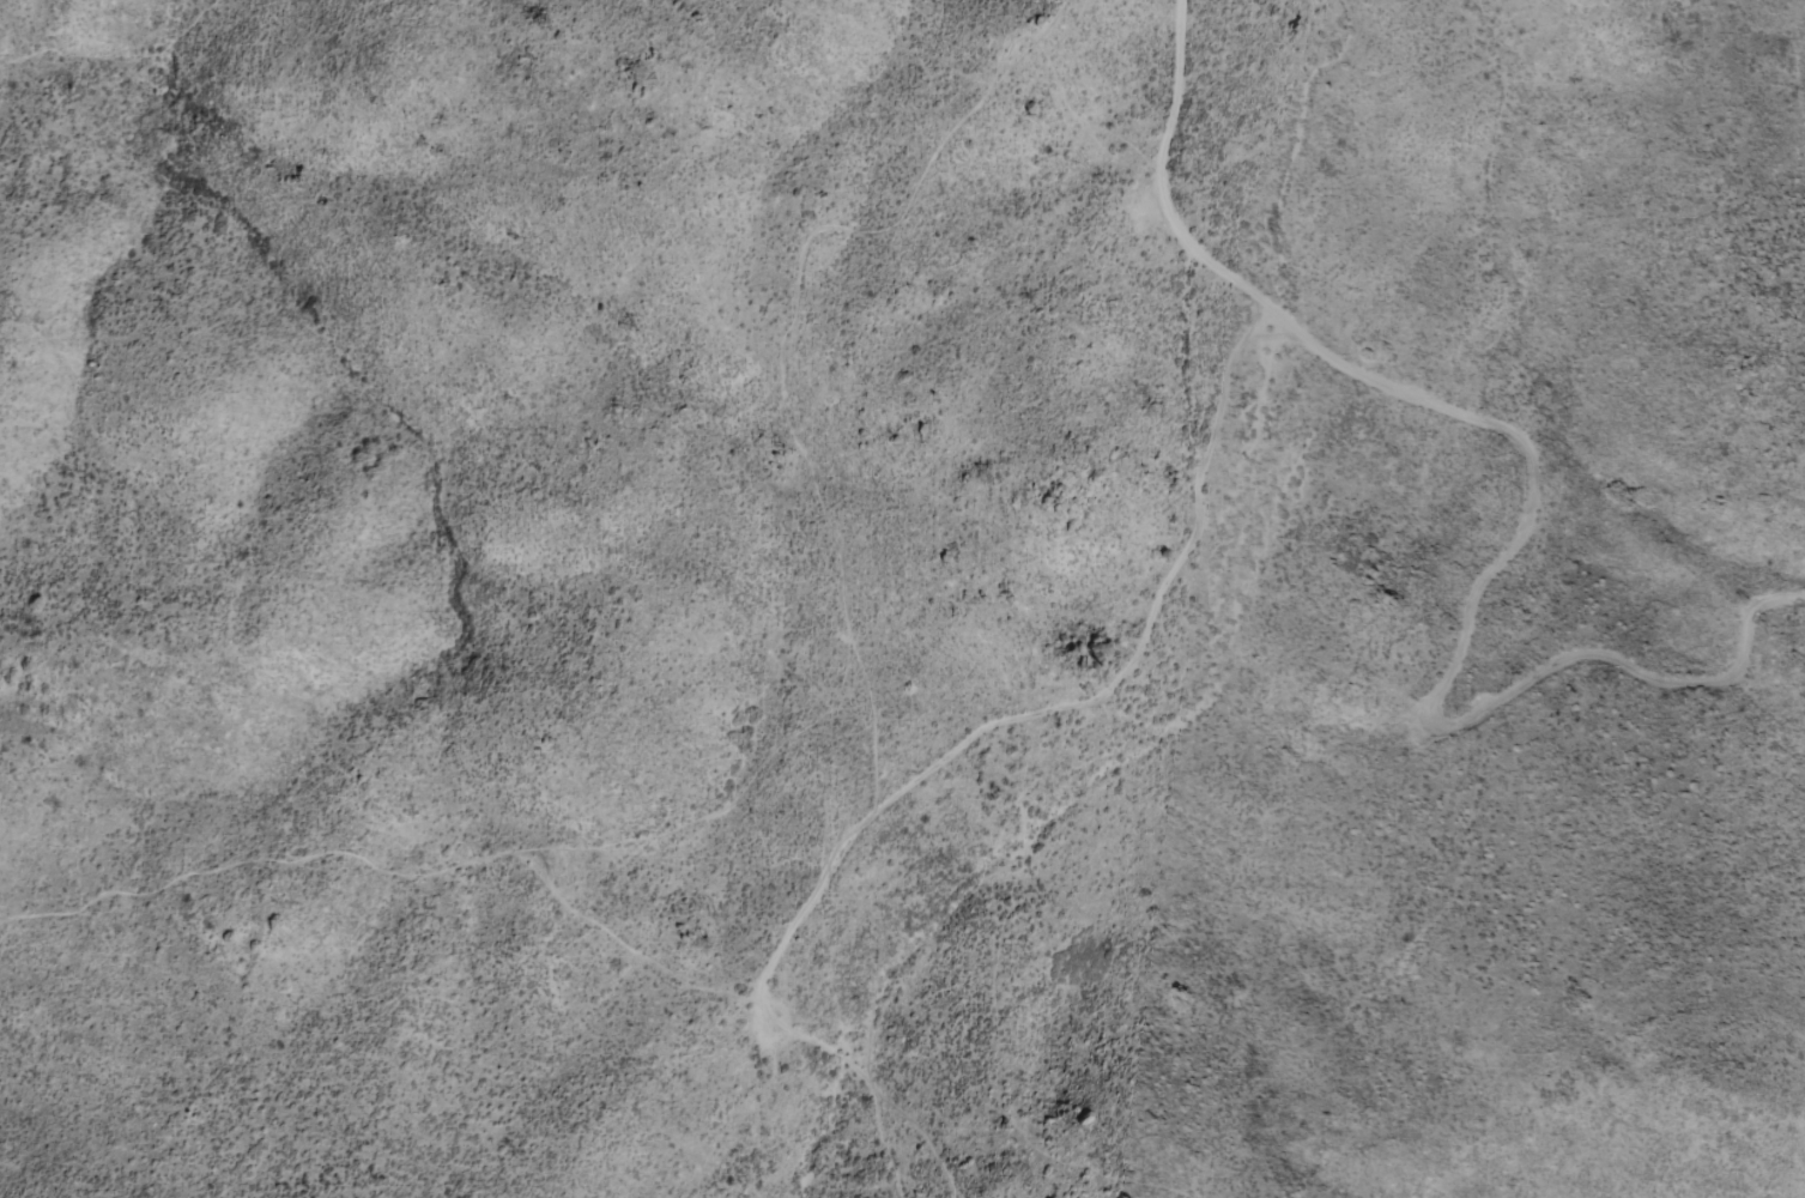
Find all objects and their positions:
road: (1520, 470)

